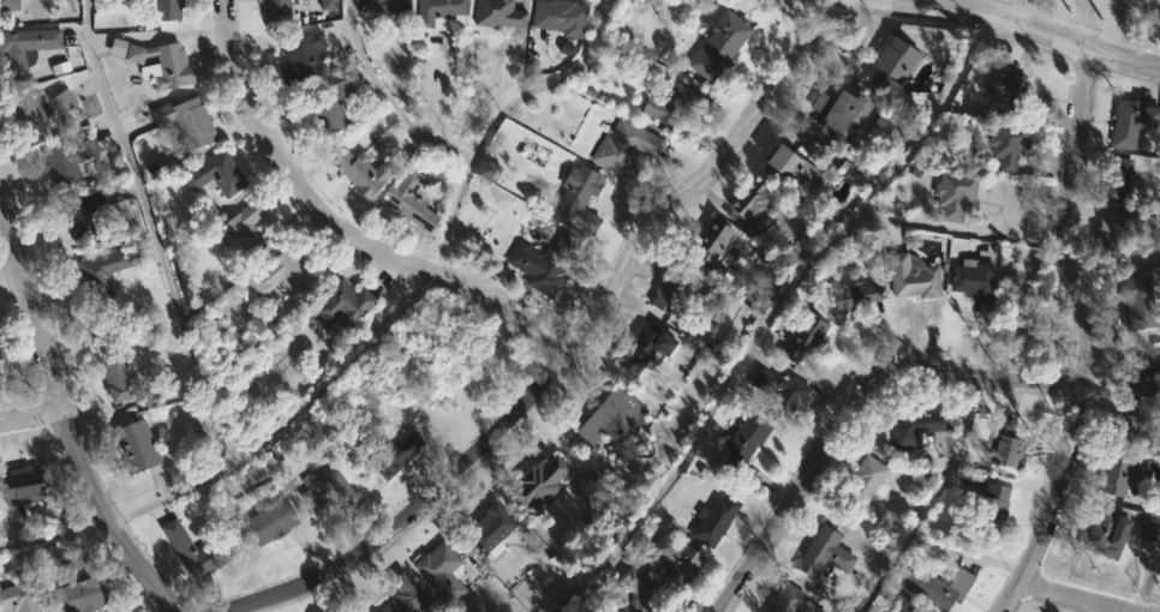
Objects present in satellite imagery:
building: (7, 5)
building: (328, 5)
building: (383, 6)
building: (161, 8)
building: (273, 11)
road: (1013, 12)
building: (437, 14)
building: (556, 17)
road: (1086, 25)
road: (1033, 32)
building: (713, 37)
building: (25, 46)
building: (564, 49)
building: (301, 55)
building: (159, 65)
building: (887, 70)
building: (1003, 78)
road: (546, 82)
building: (62, 101)
building: (672, 103)
building: (327, 108)
building: (836, 115)
building: (25, 119)
building: (183, 122)
building: (884, 124)
building: (1130, 124)
building: (1006, 146)
building: (621, 148)
building: (64, 161)
building: (785, 168)
building: (488, 170)
building: (358, 174)
building: (214, 175)
building: (1117, 179)
building: (950, 196)
building: (576, 198)
building: (407, 200)
building: (749, 203)
building: (77, 217)
building: (240, 227)
road: (341, 229)
building: (1123, 230)
road: (441, 240)
building: (708, 241)
building: (543, 263)
building: (277, 272)
building: (96, 275)
building: (970, 276)
building: (909, 277)
building: (668, 290)
building: (850, 294)
road: (179, 304)
building: (1136, 304)
building: (341, 307)
building: (1013, 307)
road: (769, 314)
building: (799, 338)
road: (1089, 340)
building: (641, 350)
road: (569, 354)
building: (0, 358)
building: (114, 370)
building: (0, 374)
building: (1135, 377)
building: (781, 391)
road: (855, 410)
road: (31, 418)
building: (605, 419)
road: (67, 422)
building: (1128, 424)
building: (909, 428)
building: (743, 437)
building: (995, 442)
building: (133, 446)
building: (393, 455)
building: (1119, 476)
building: (861, 481)
building: (539, 482)
building: (20, 487)
building: (324, 492)
road: (925, 500)
building: (985, 511)
building: (711, 520)
building: (264, 524)
building: (1148, 528)
building: (486, 529)
road: (55, 533)
building: (1105, 534)
building: (192, 551)
building: (820, 553)
building: (675, 560)
road: (1144, 568)
building: (438, 571)
building: (77, 584)
building: (937, 588)
building: (635, 589)
building: (18, 596)
building: (401, 596)
building: (787, 600)
road: (1068, 600)
building: (903, 607)

